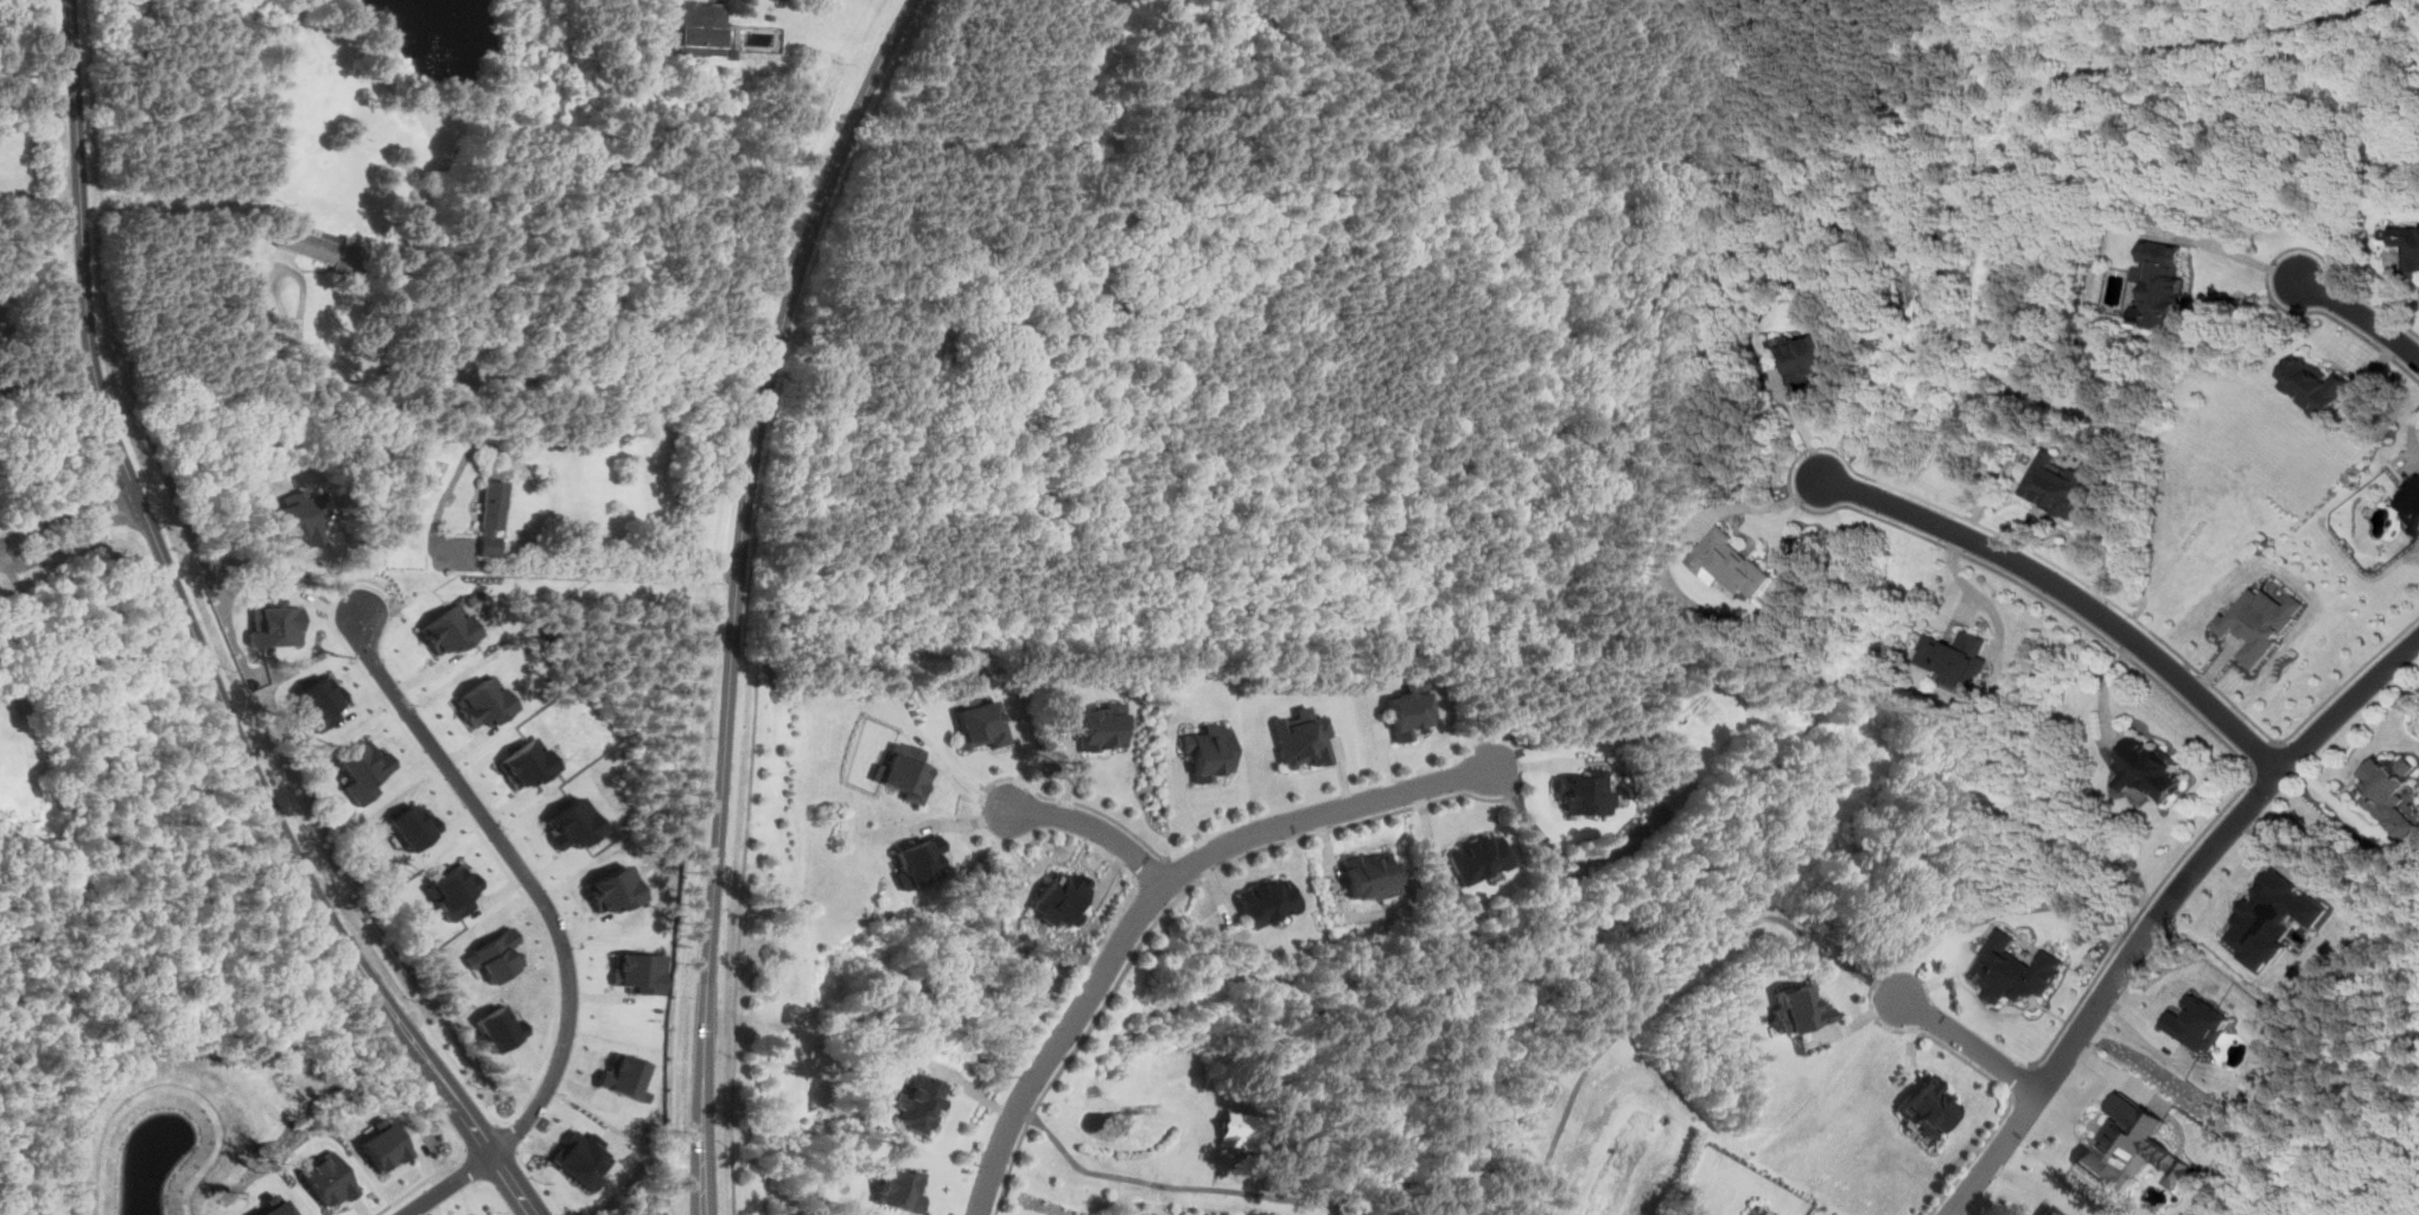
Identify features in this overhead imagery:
building: (769, 15)
building: (700, 27)
building: (730, 53)
building: (322, 246)
building: (2410, 246)
road: (2239, 254)
road: (2268, 273)
building: (2162, 285)
road: (2394, 285)
road: (2361, 317)
road: (853, 333)
building: (959, 344)
building: (1809, 360)
building: (454, 368)
building: (14, 384)
building: (2315, 386)
road: (444, 387)
road: (1800, 424)
road: (507, 456)
building: (2063, 484)
building: (2411, 502)
road: (1842, 504)
road: (68, 514)
building: (299, 516)
building: (491, 517)
road: (71, 537)
building: (390, 541)
road: (504, 562)
building: (1734, 566)
road: (733, 591)
road: (2070, 593)
building: (2256, 622)
building: (275, 624)
road: (31, 629)
building: (448, 630)
building: (2237, 640)
road: (200, 642)
building: (1956, 657)
building: (319, 702)
building: (483, 702)
building: (1408, 711)
building: (981, 724)
building: (1101, 724)
building: (1301, 736)
road: (2278, 742)
building: (1209, 751)
road: (2267, 757)
park: (115, 763)
building: (528, 763)
building: (2147, 768)
road: (2254, 769)
road: (2281, 769)
building: (362, 770)
building: (908, 772)
road: (1501, 778)
road: (104, 791)
building: (1584, 793)
building: (2389, 794)
road: (1000, 797)
road: (1081, 802)
building: (572, 825)
building: (412, 826)
road: (1096, 827)
building: (1479, 857)
building: (921, 858)
road: (1177, 872)
building: (1371, 876)
road: (1189, 886)
building: (615, 888)
building: (453, 891)
building: (1059, 897)
road: (1153, 897)
road: (1175, 901)
building: (1268, 902)
building: (2275, 914)
road: (553, 924)
road: (739, 935)
building: (495, 955)
building: (639, 971)
building: (2009, 971)
road: (1889, 990)
road: (1660, 993)
building: (1791, 1010)
building: (2200, 1023)
building: (499, 1026)
road: (1968, 1043)
road: (2054, 1064)
road: (1987, 1076)
road: (2115, 1076)
building: (624, 1077)
road: (2023, 1081)
road: (2011, 1098)
building: (919, 1101)
building: (1923, 1107)
road: (1020, 1111)
road: (1027, 1114)
building: (1239, 1130)
building: (2127, 1144)
building: (383, 1145)
building: (581, 1158)
building: (327, 1179)
building: (902, 1189)
road: (1275, 1196)
building: (274, 1207)
road: (1335, 1208)
building: (2045, 1211)

